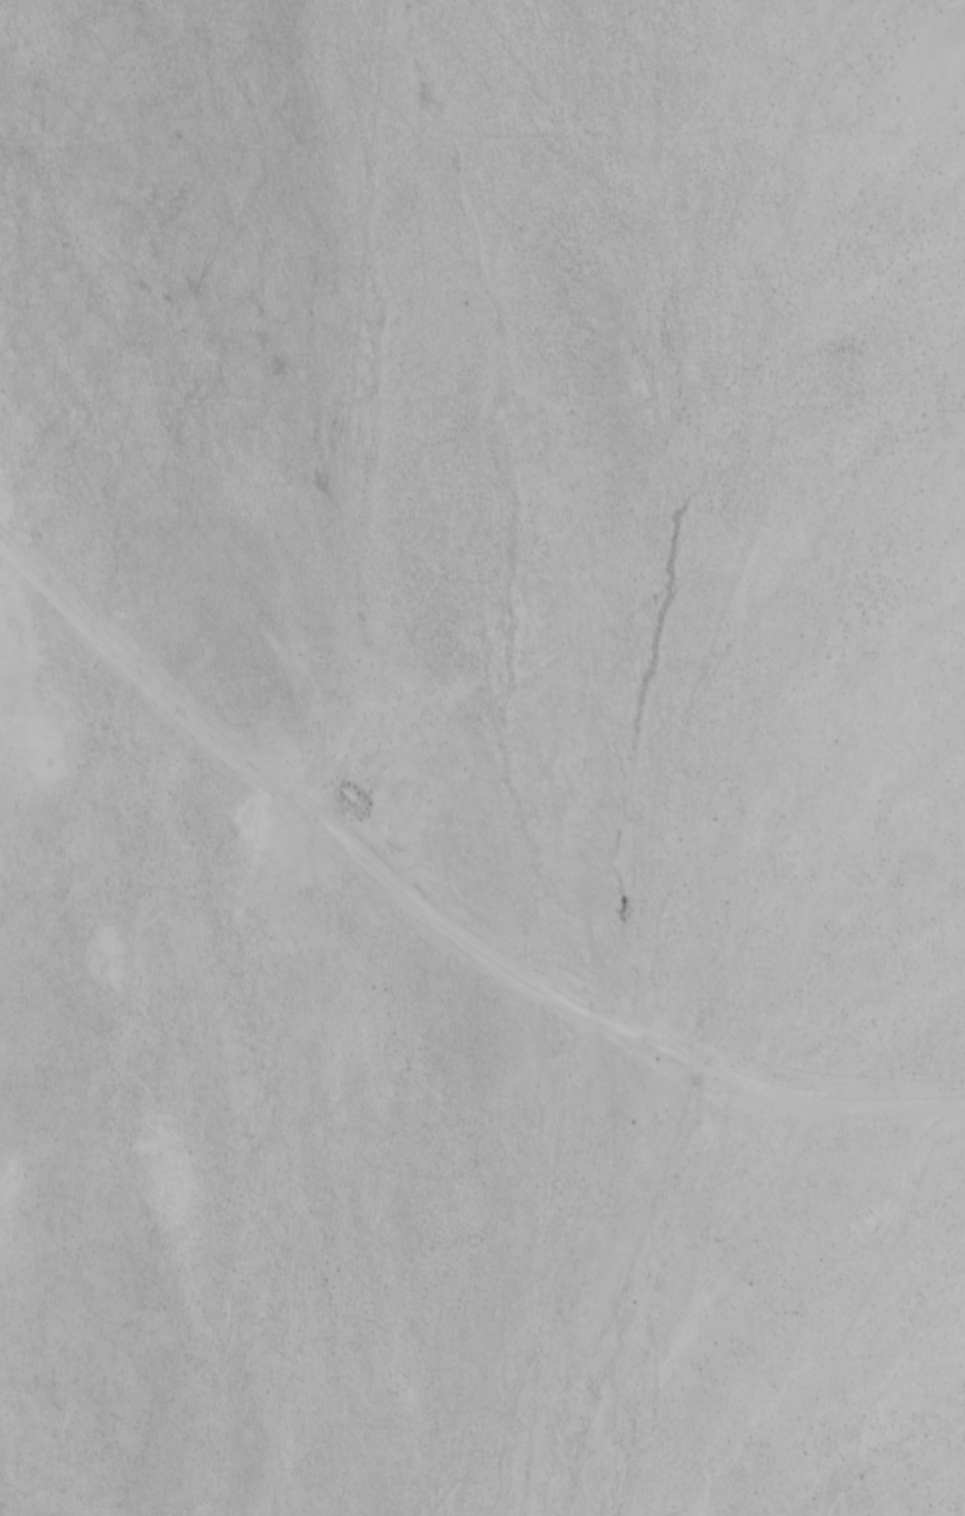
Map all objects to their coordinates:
road: (439, 888)

